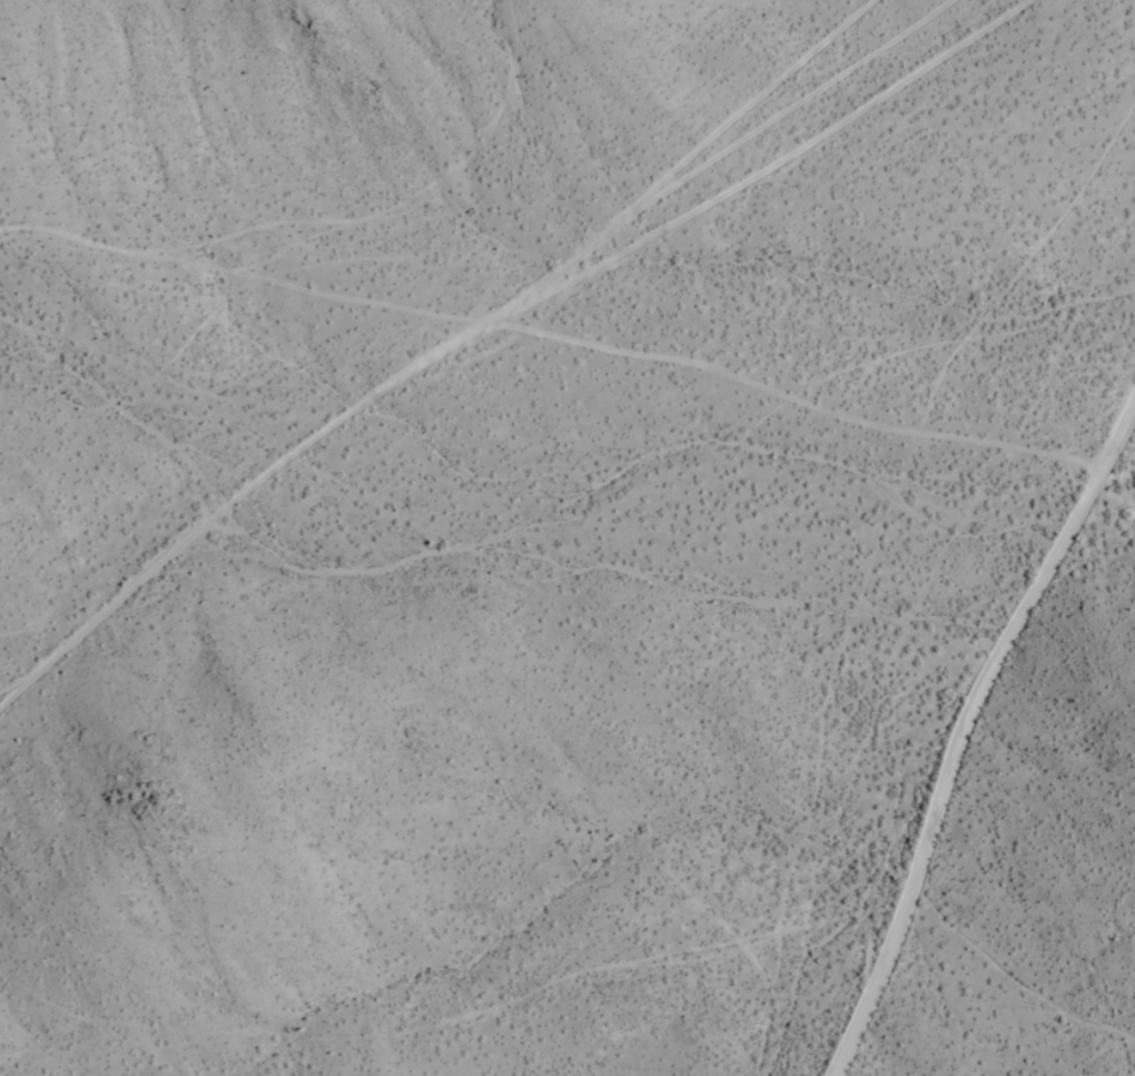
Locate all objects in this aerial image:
road: (953, 722)

